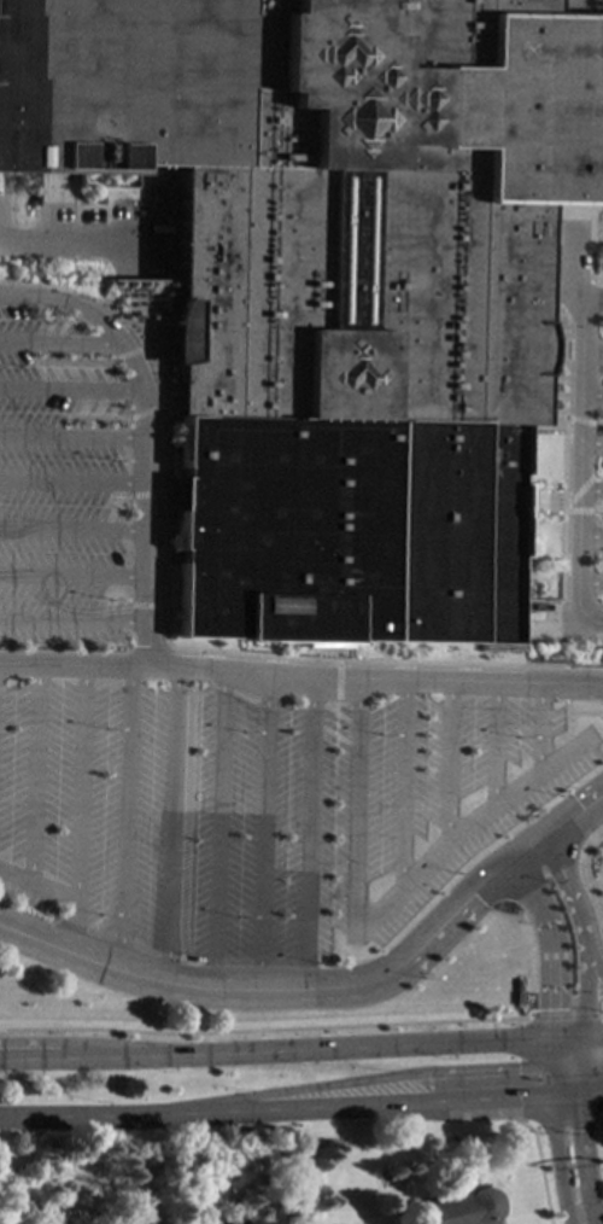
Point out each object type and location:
road: (72, 244)
building: (335, 285)
road: (17, 295)
road: (599, 301)
road: (150, 342)
road: (57, 343)
road: (599, 350)
road: (43, 352)
road: (75, 352)
road: (123, 352)
road: (70, 363)
road: (35, 374)
road: (51, 374)
road: (66, 375)
road: (82, 375)
road: (98, 375)
road: (66, 387)
road: (598, 395)
road: (80, 402)
road: (94, 402)
road: (111, 402)
road: (140, 412)
road: (96, 418)
road: (589, 420)
road: (593, 424)
road: (89, 426)
road: (69, 435)
road: (598, 443)
road: (139, 453)
road: (69, 480)
road: (597, 490)
road: (139, 494)
road: (587, 494)
road: (107, 508)
road: (587, 509)
parking lot: (602, 517)
road: (70, 528)
road: (597, 535)
road: (70, 577)
road: (596, 581)
road: (100, 591)
road: (105, 598)
road: (139, 605)
road: (117, 612)
road: (70, 619)
road: (175, 647)
road: (69, 664)
road: (193, 665)
road: (238, 670)
road: (335, 680)
road: (467, 681)
road: (567, 682)
road: (601, 684)
road: (328, 700)
road: (345, 705)
road: (332, 711)
road: (578, 713)
road: (539, 729)
parking lot: (207, 730)
road: (330, 735)
road: (493, 746)
road: (446, 760)
road: (30, 774)
road: (400, 786)
road: (353, 808)
road: (76, 810)
road: (121, 817)
road: (573, 817)
road: (168, 824)
road: (463, 828)
road: (215, 829)
road: (260, 830)
road: (305, 832)
road: (181, 839)
road: (587, 876)
road: (37, 887)
road: (581, 933)
road: (552, 943)
road: (593, 964)
road: (292, 990)
traffic signals: (554, 1009)
road: (564, 1015)
road: (592, 1034)
road: (568, 1036)
road: (82, 1045)
road: (554, 1049)
road: (276, 1050)
road: (569, 1050)
road: (581, 1050)
road: (592, 1065)
traffic signals: (516, 1068)
road: (554, 1078)
road: (564, 1078)
road: (356, 1080)
road: (580, 1080)
road: (591, 1094)
road: (567, 1095)
traffic signals: (516, 1098)
road: (276, 1109)
road: (569, 1123)
road: (535, 1130)
road: (601, 1130)
traffic signals: (578, 1131)
road: (580, 1158)
road: (557, 1161)
road: (538, 1167)
park: (19, 1178)
building: (54, 1190)
building: (458, 1207)
building: (146, 1218)
building: (127, 1220)
road: (592, 1220)
building: (216, 1222)
road: (581, 1222)

